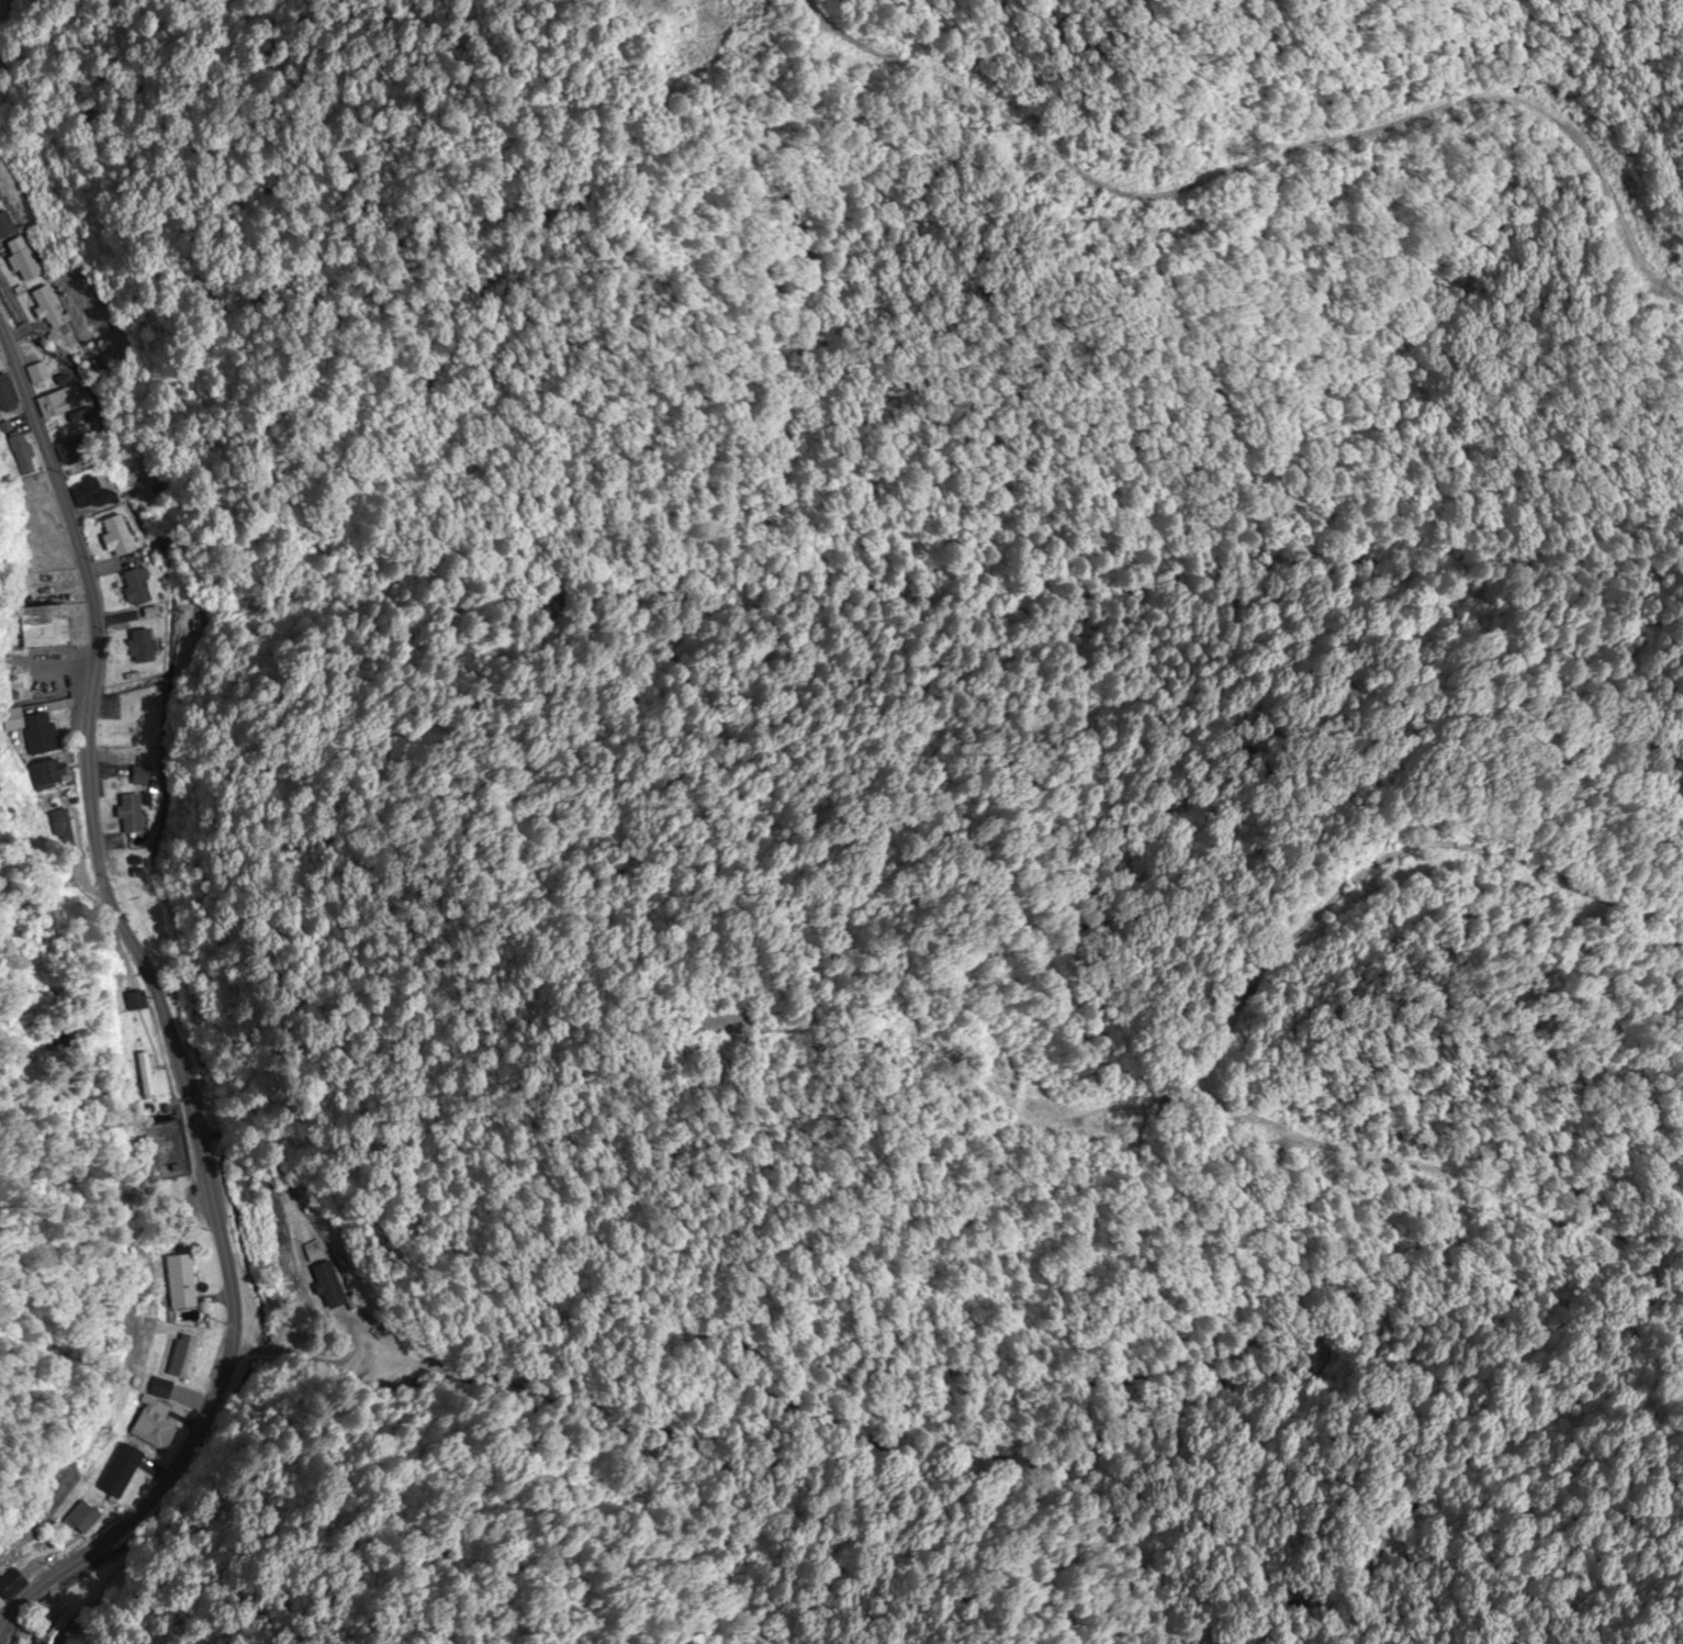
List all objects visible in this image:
building: (5, 225)
building: (18, 259)
building: (42, 309)
building: (35, 372)
building: (55, 403)
building: (20, 455)
building: (91, 502)
building: (110, 537)
building: (41, 539)
building: (42, 586)
building: (131, 586)
building: (34, 627)
building: (133, 647)
building: (30, 731)
building: (43, 775)
building: (145, 778)
building: (126, 815)
building: (61, 832)
building: (142, 895)
building: (132, 1002)
road: (160, 1009)
building: (143, 1076)
building: (310, 1254)
building: (176, 1282)
building: (322, 1286)
building: (176, 1357)
building: (114, 1473)
building: (71, 1519)

